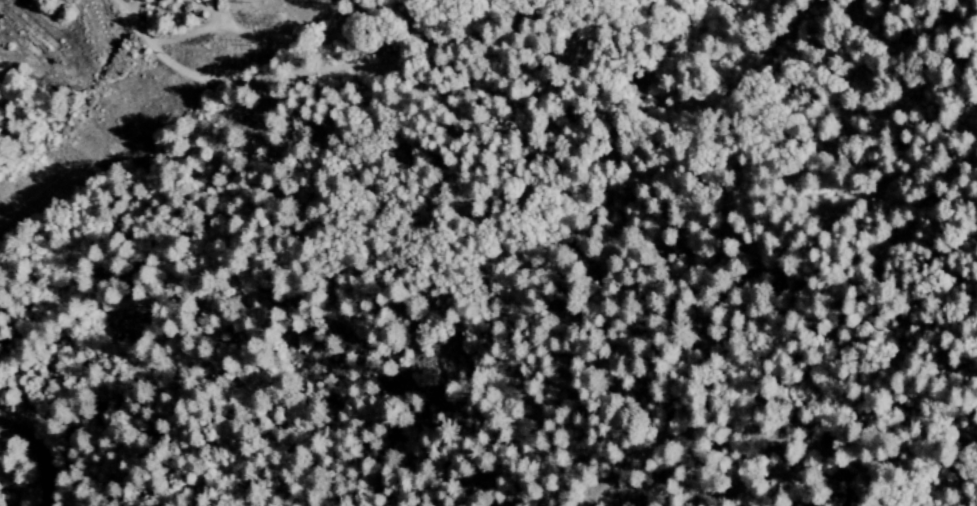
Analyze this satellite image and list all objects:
power tower: (255, 6)
power tower: (284, 25)
road: (41, 453)

